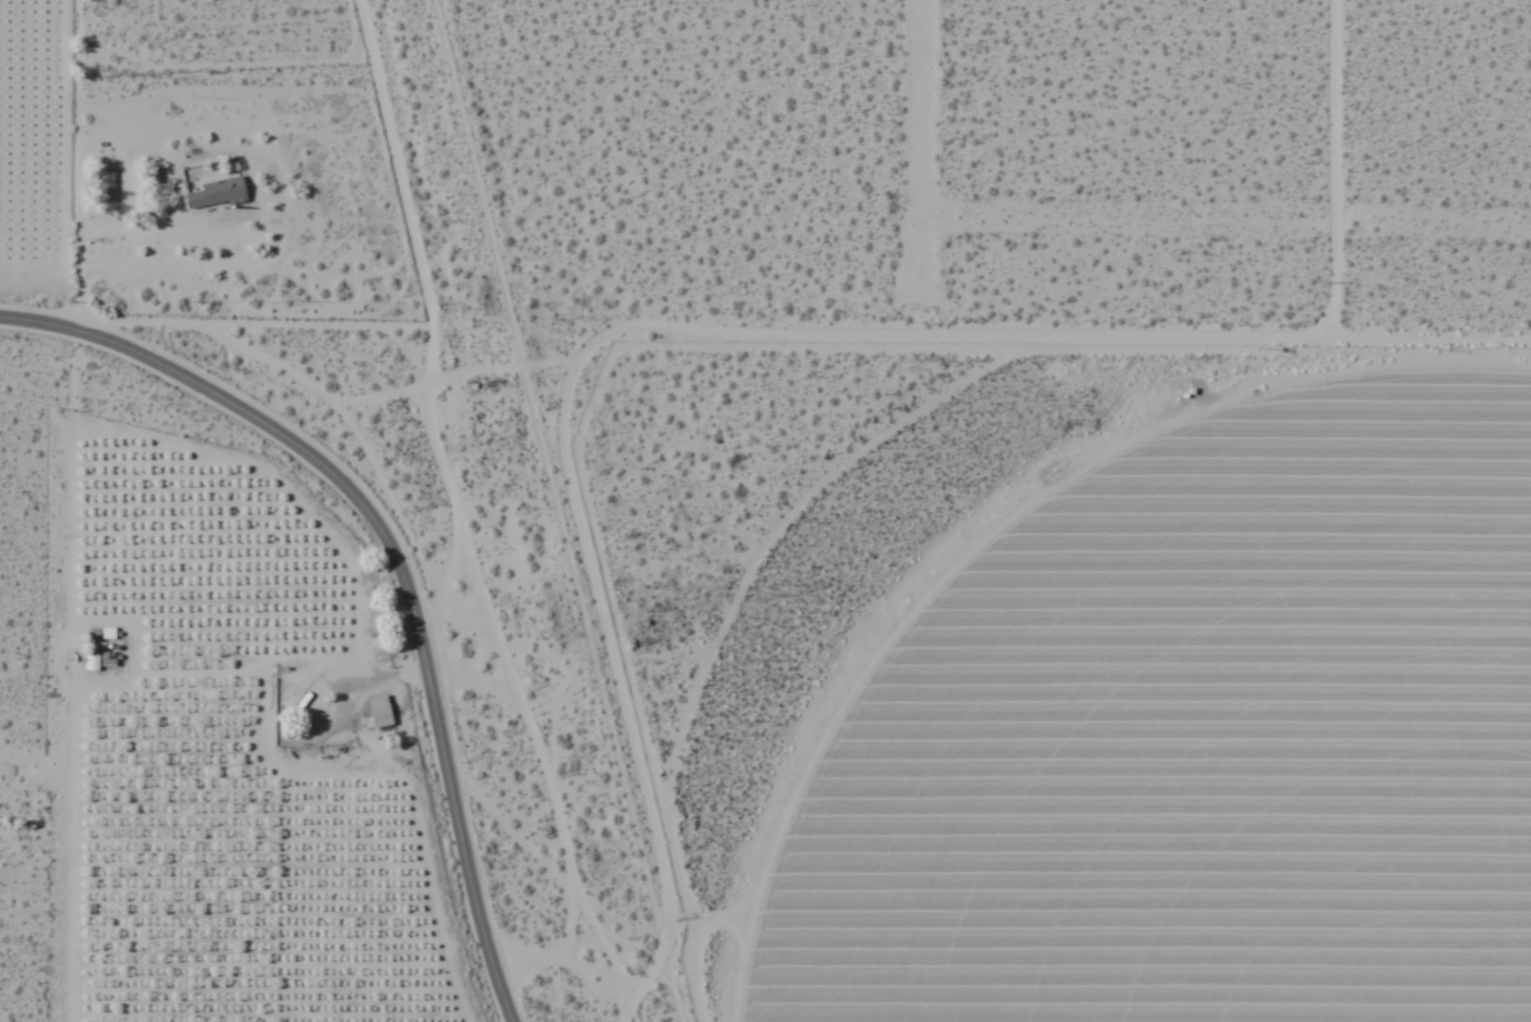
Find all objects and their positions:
road: (1334, 173)
building: (105, 185)
building: (217, 193)
road: (415, 249)
road: (1, 321)
road: (218, 327)
road: (966, 344)
road: (256, 423)
road: (448, 568)
building: (92, 662)
building: (379, 711)
road: (523, 721)
crop: (1187, 736)
road: (460, 829)
road: (585, 945)

